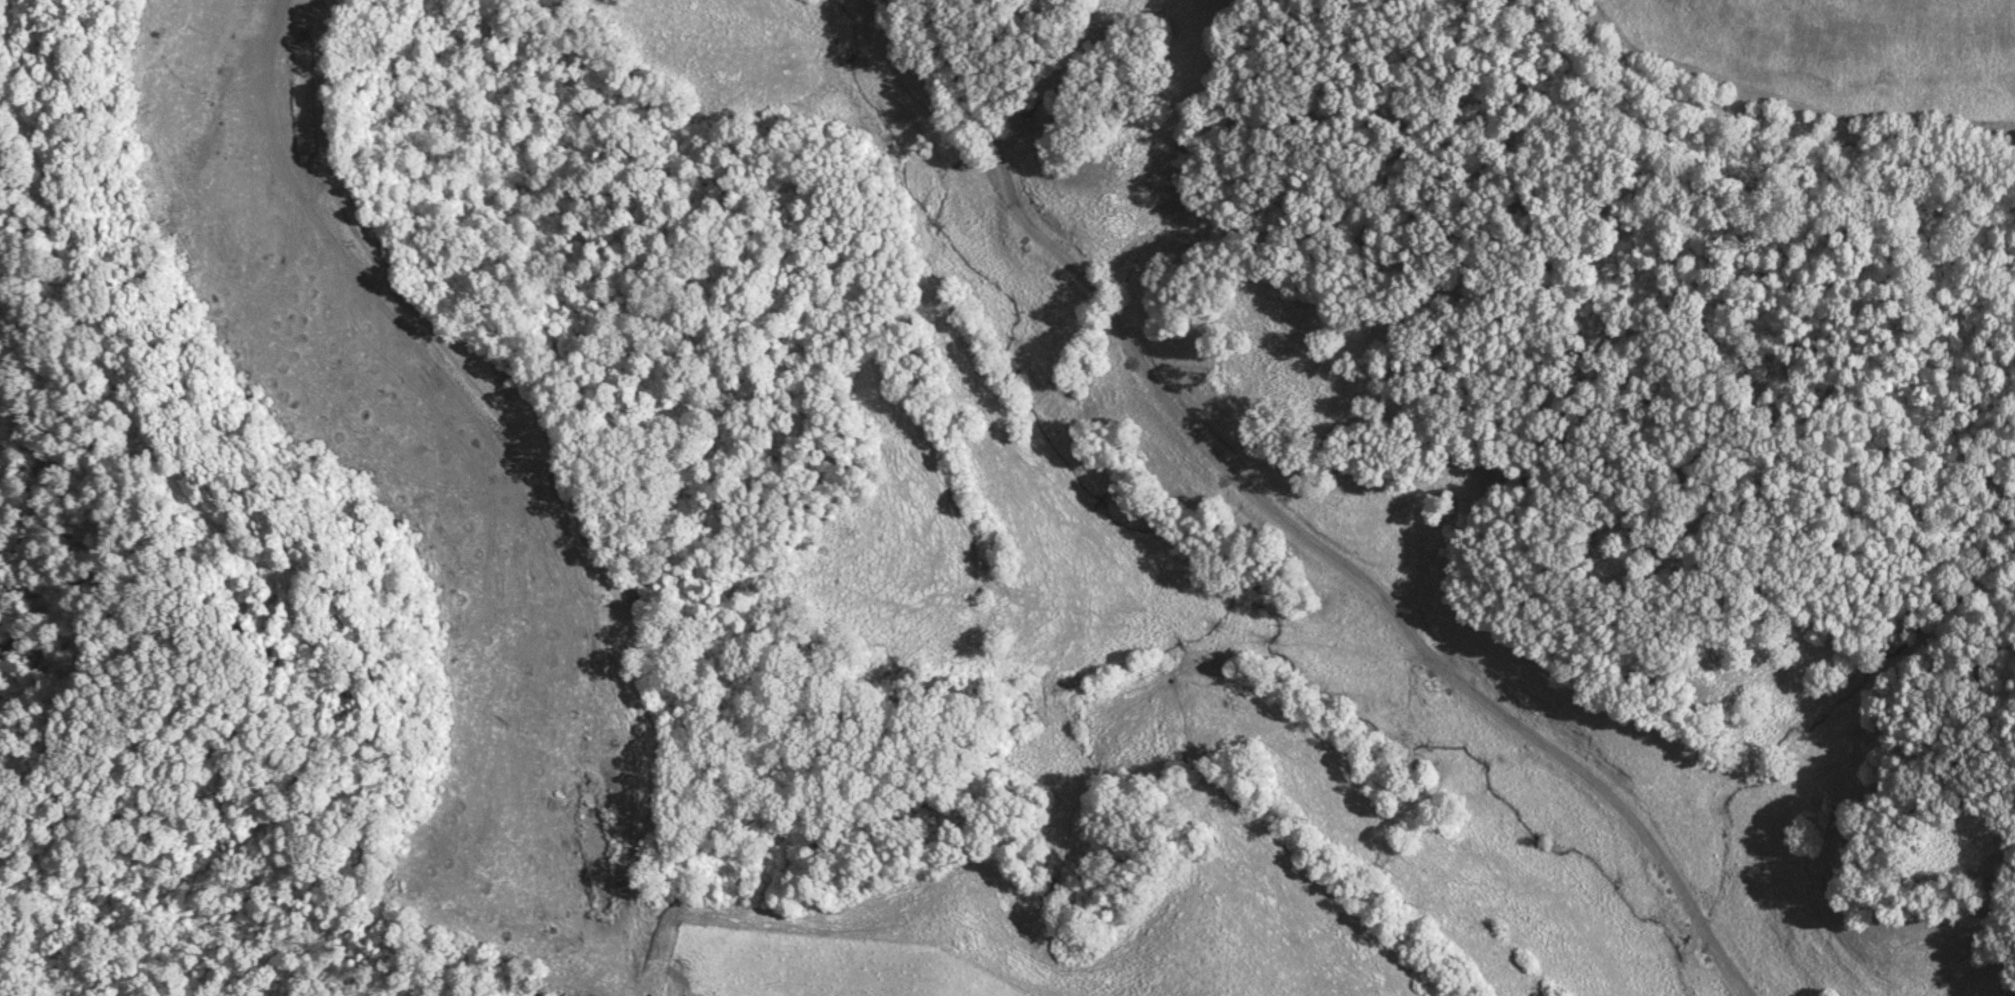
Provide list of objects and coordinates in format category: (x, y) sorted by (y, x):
road: (1296, 534)

